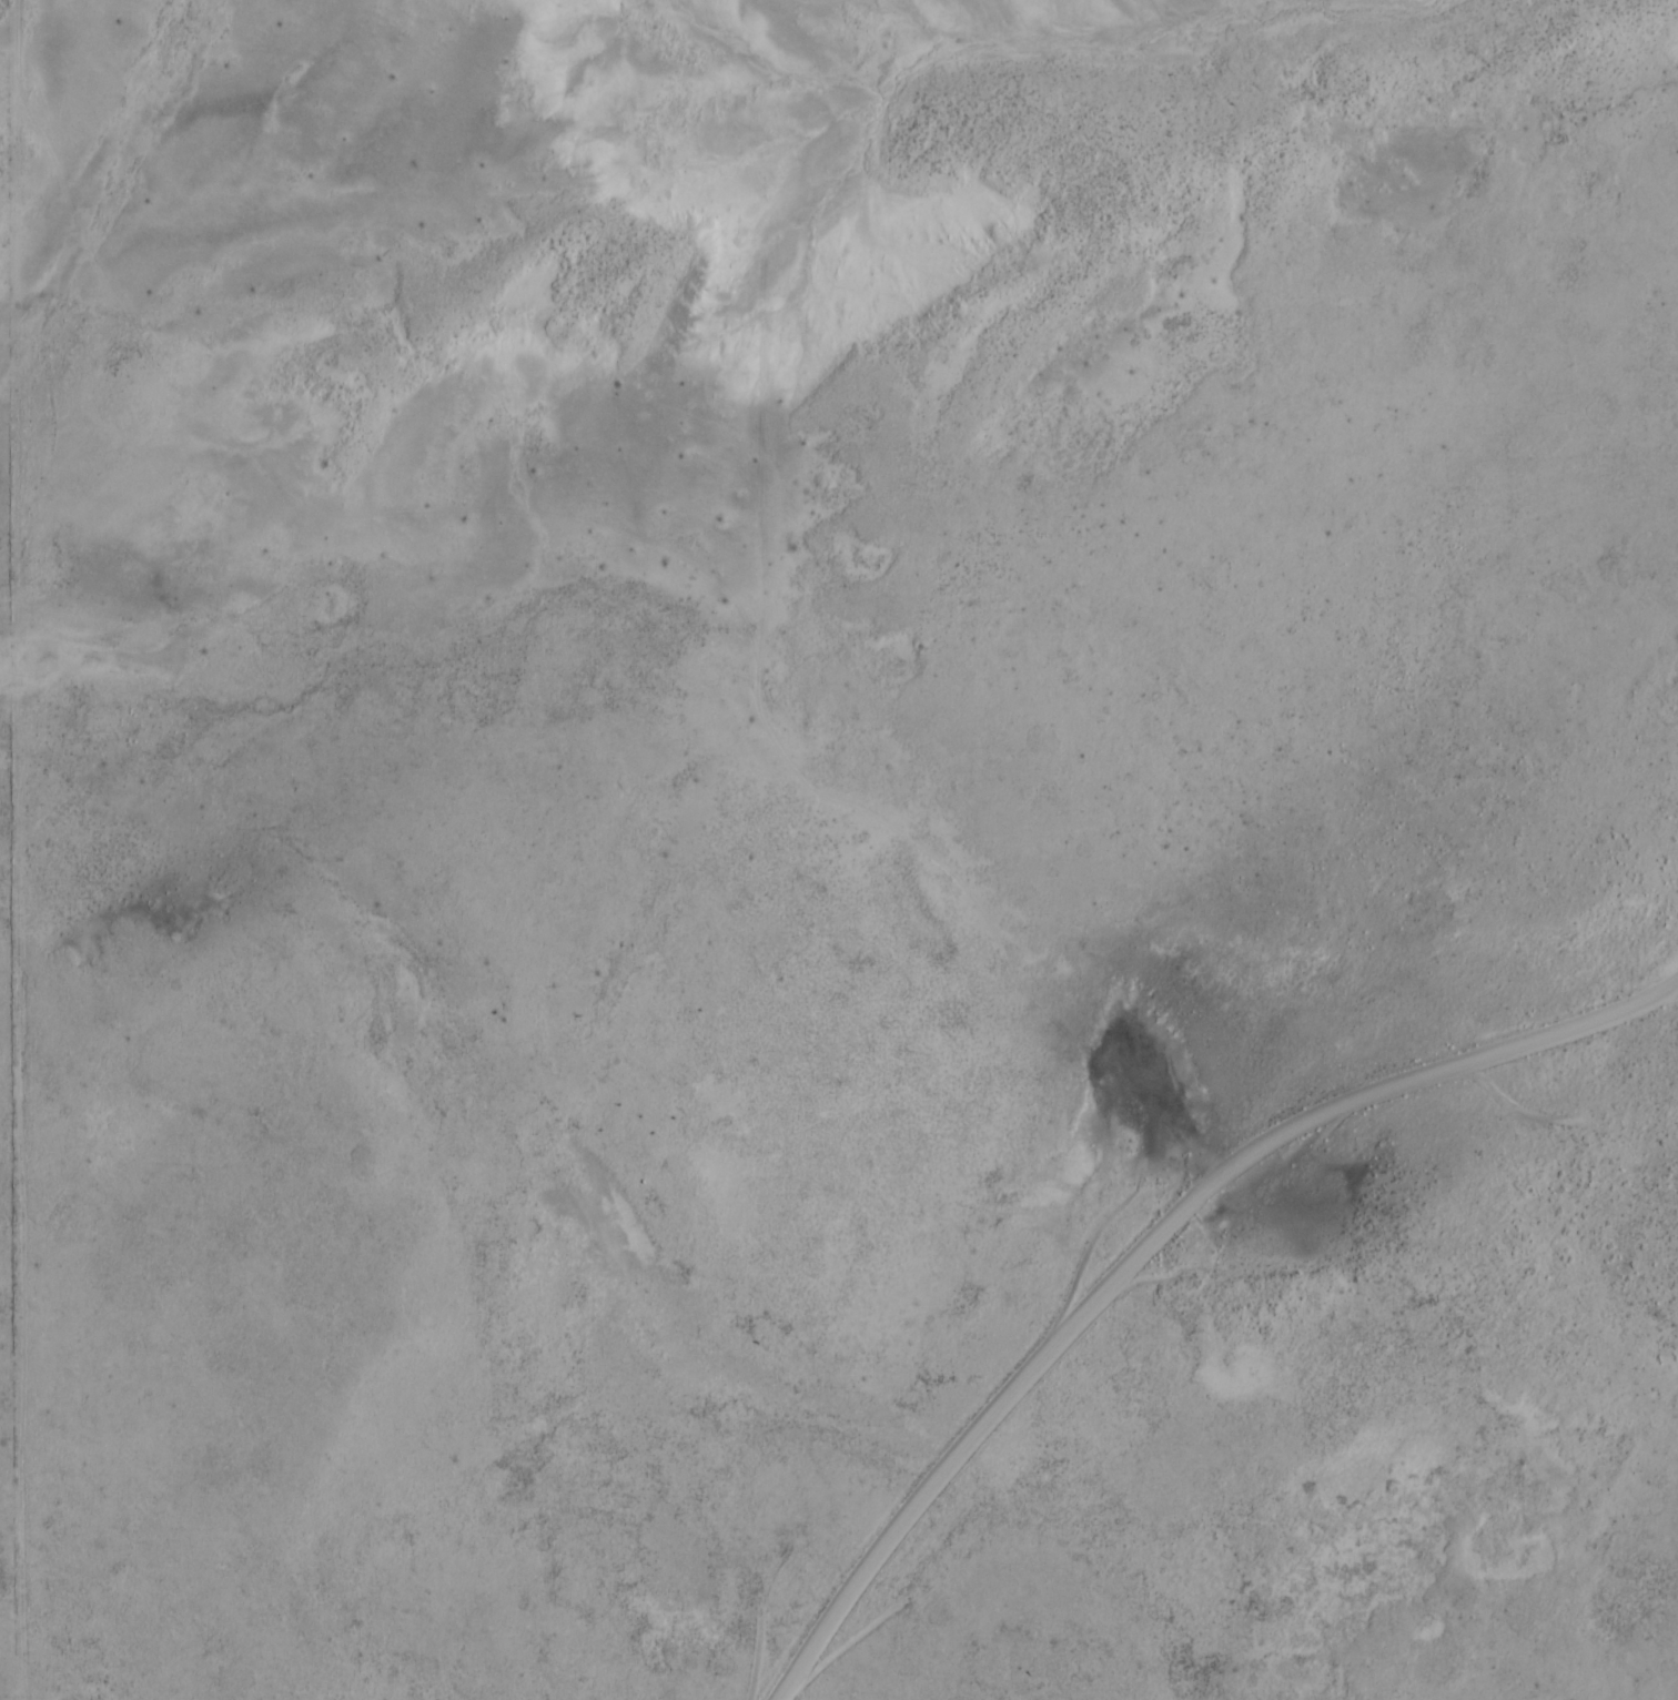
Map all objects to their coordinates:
road: (1146, 1238)

